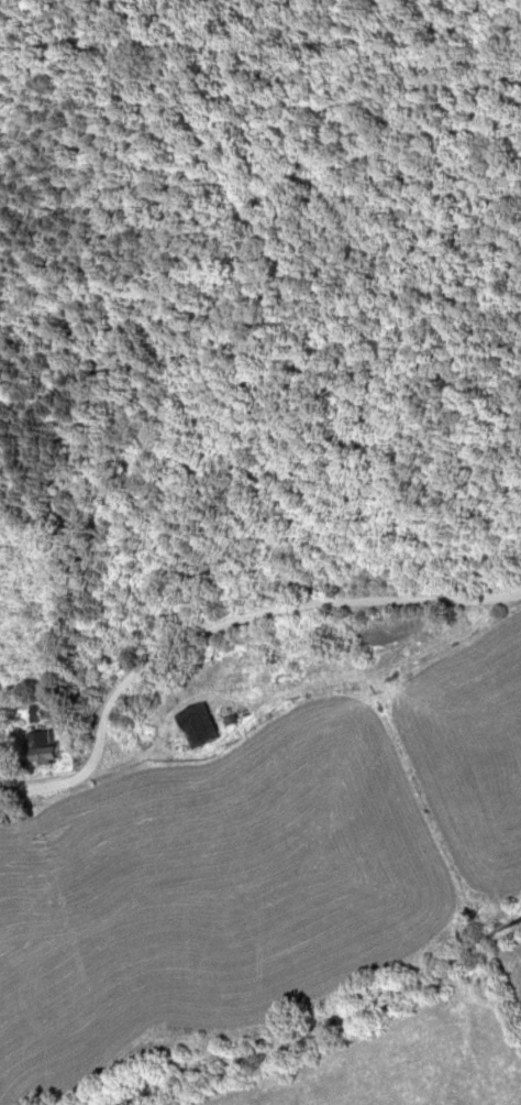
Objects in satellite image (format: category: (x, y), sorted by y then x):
road: (220, 626)
building: (280, 672)
building: (196, 725)
building: (46, 745)

